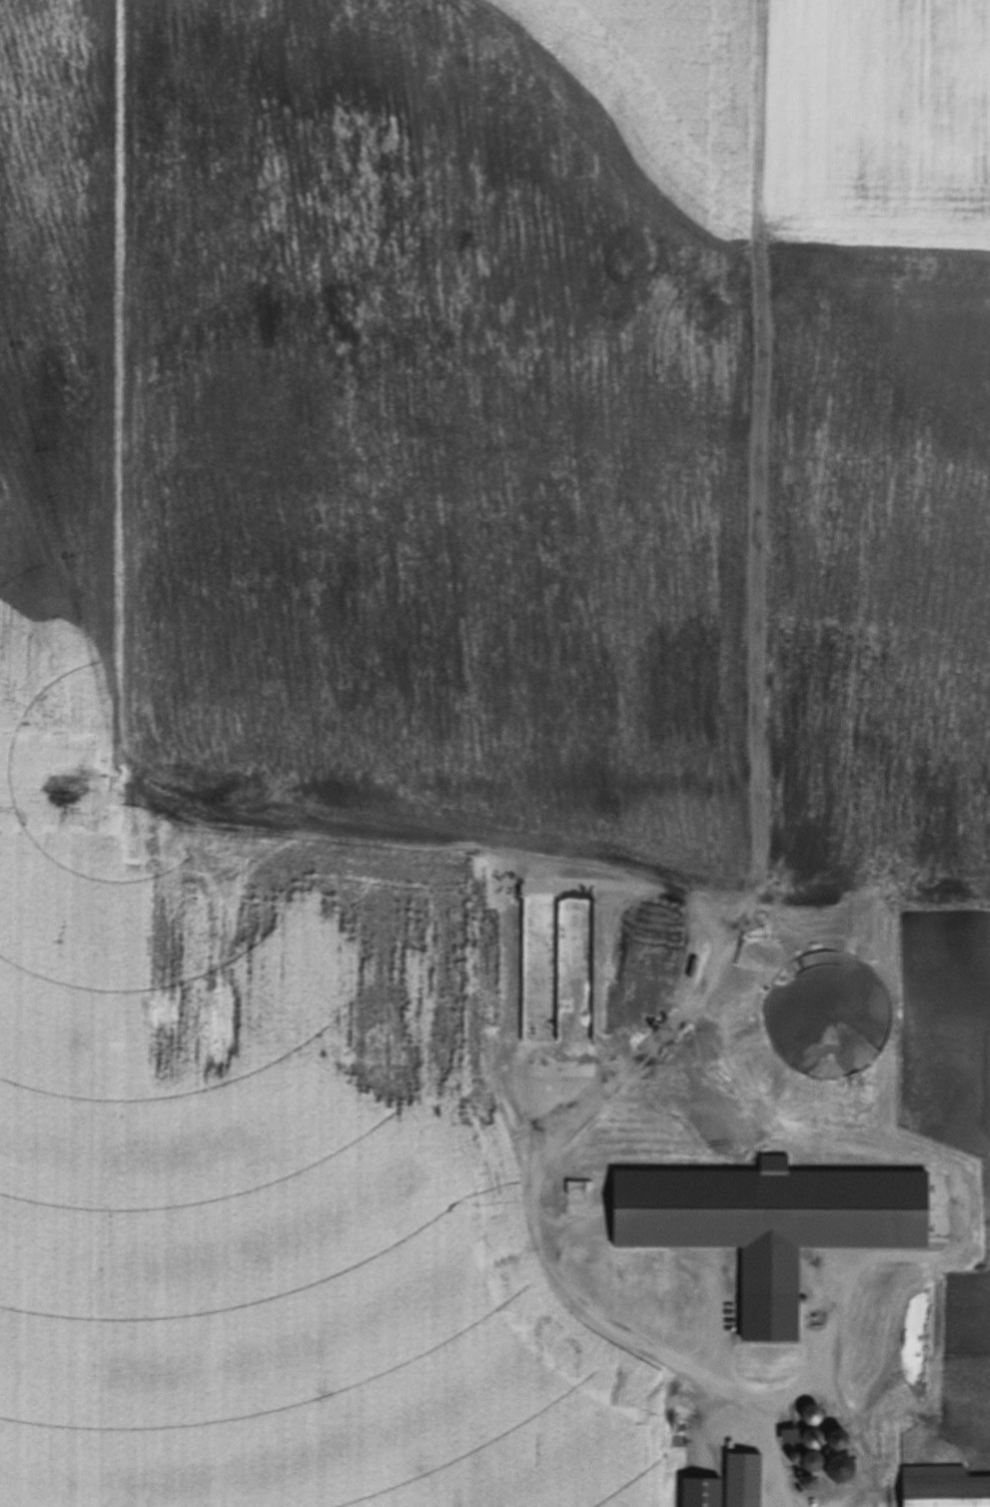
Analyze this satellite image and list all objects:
building: (828, 1016)
building: (771, 1225)
building: (813, 1416)
building: (791, 1438)
building: (813, 1440)
building: (838, 1441)
building: (733, 1450)
building: (795, 1459)
building: (813, 1463)
building: (841, 1470)
building: (799, 1474)
building: (800, 1479)
building: (744, 1481)
building: (810, 1484)
building: (944, 1488)
building: (801, 1491)
building: (702, 1493)

